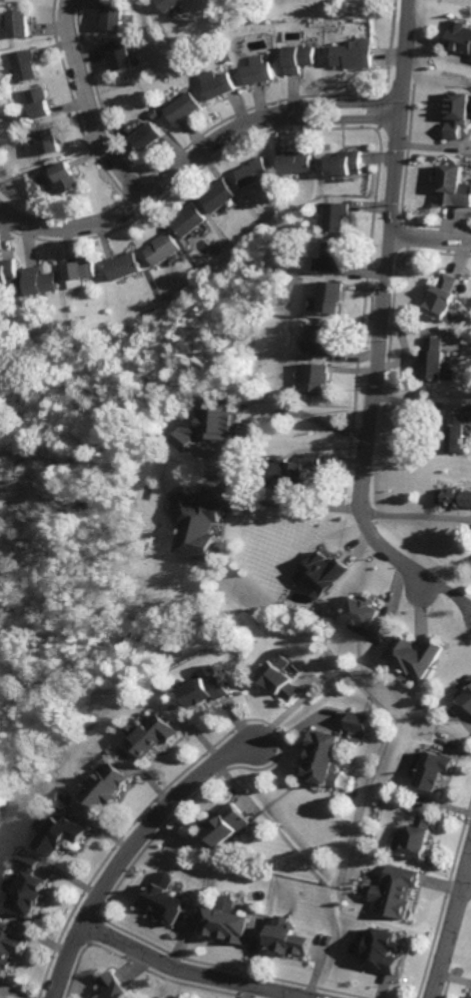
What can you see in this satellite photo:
building: (24, 0)
building: (170, 5)
building: (110, 15)
building: (20, 22)
building: (459, 36)
building: (119, 56)
building: (350, 56)
building: (295, 58)
building: (470, 60)
building: (23, 65)
building: (255, 71)
building: (217, 85)
building: (38, 103)
road: (83, 106)
building: (181, 108)
building: (450, 112)
building: (147, 135)
building: (46, 141)
road: (192, 157)
building: (295, 163)
building: (344, 163)
building: (252, 173)
building: (63, 178)
building: (450, 188)
building: (219, 196)
building: (335, 216)
building: (187, 219)
road: (429, 240)
building: (161, 247)
building: (331, 260)
building: (121, 267)
building: (79, 270)
building: (9, 272)
building: (38, 281)
building: (329, 297)
building: (439, 297)
road: (381, 304)
building: (324, 342)
building: (431, 357)
building: (319, 379)
road: (276, 417)
building: (209, 425)
building: (454, 434)
building: (293, 471)
building: (451, 496)
road: (281, 504)
road: (415, 515)
building: (199, 527)
building: (321, 573)
road: (445, 596)
building: (369, 617)
building: (416, 656)
building: (283, 677)
building: (208, 689)
building: (465, 700)
building: (354, 720)
building: (155, 735)
building: (321, 757)
building: (433, 772)
building: (104, 791)
building: (222, 826)
building: (63, 835)
building: (418, 835)
road: (128, 849)
building: (32, 883)
building: (393, 892)
building: (161, 901)
road: (450, 917)
building: (227, 922)
building: (287, 936)
building: (9, 946)
building: (380, 950)
road: (186, 973)
building: (113, 987)
road: (243, 992)
building: (1, 997)
building: (470, 997)

